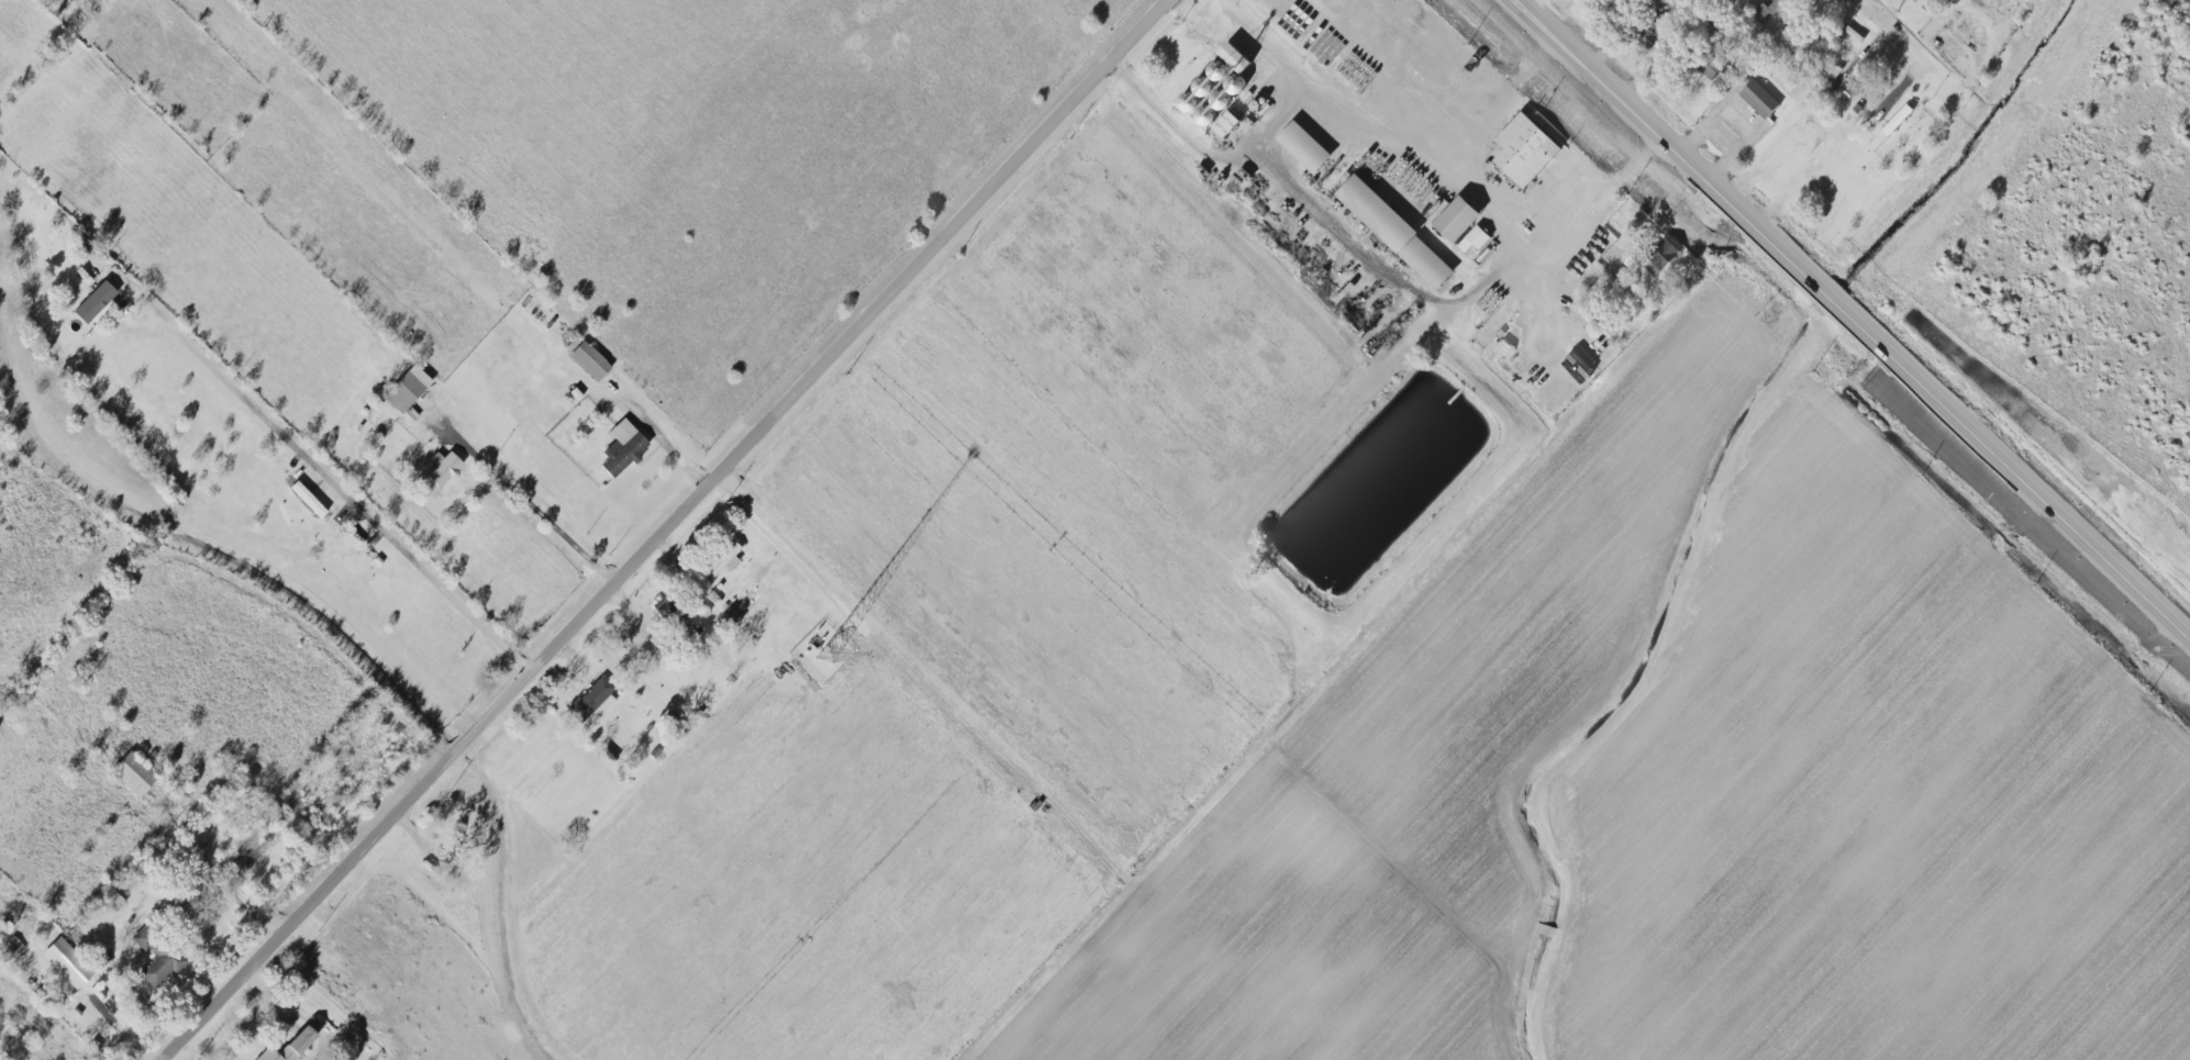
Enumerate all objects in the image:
building: (1913, 0)
building: (1775, 9)
road: (1881, 14)
road: (1421, 58)
building: (1711, 67)
building: (1219, 86)
building: (1759, 99)
road: (1739, 119)
building: (1898, 120)
building: (1226, 125)
road: (1388, 141)
road: (1591, 141)
building: (1305, 146)
road: (1207, 149)
building: (1526, 149)
road: (1486, 198)
building: (1459, 217)
building: (1398, 232)
building: (1476, 238)
building: (1665, 254)
building: (1636, 261)
road: (1434, 299)
building: (96, 301)
road: (1858, 321)
building: (590, 360)
building: (408, 389)
building: (623, 447)
building: (444, 468)
road: (336, 486)
road: (543, 512)
road: (667, 531)
road: (800, 549)
building: (724, 559)
building: (594, 699)
building: (134, 773)
building: (118, 903)
building: (157, 957)
building: (68, 962)
building: (291, 1047)

